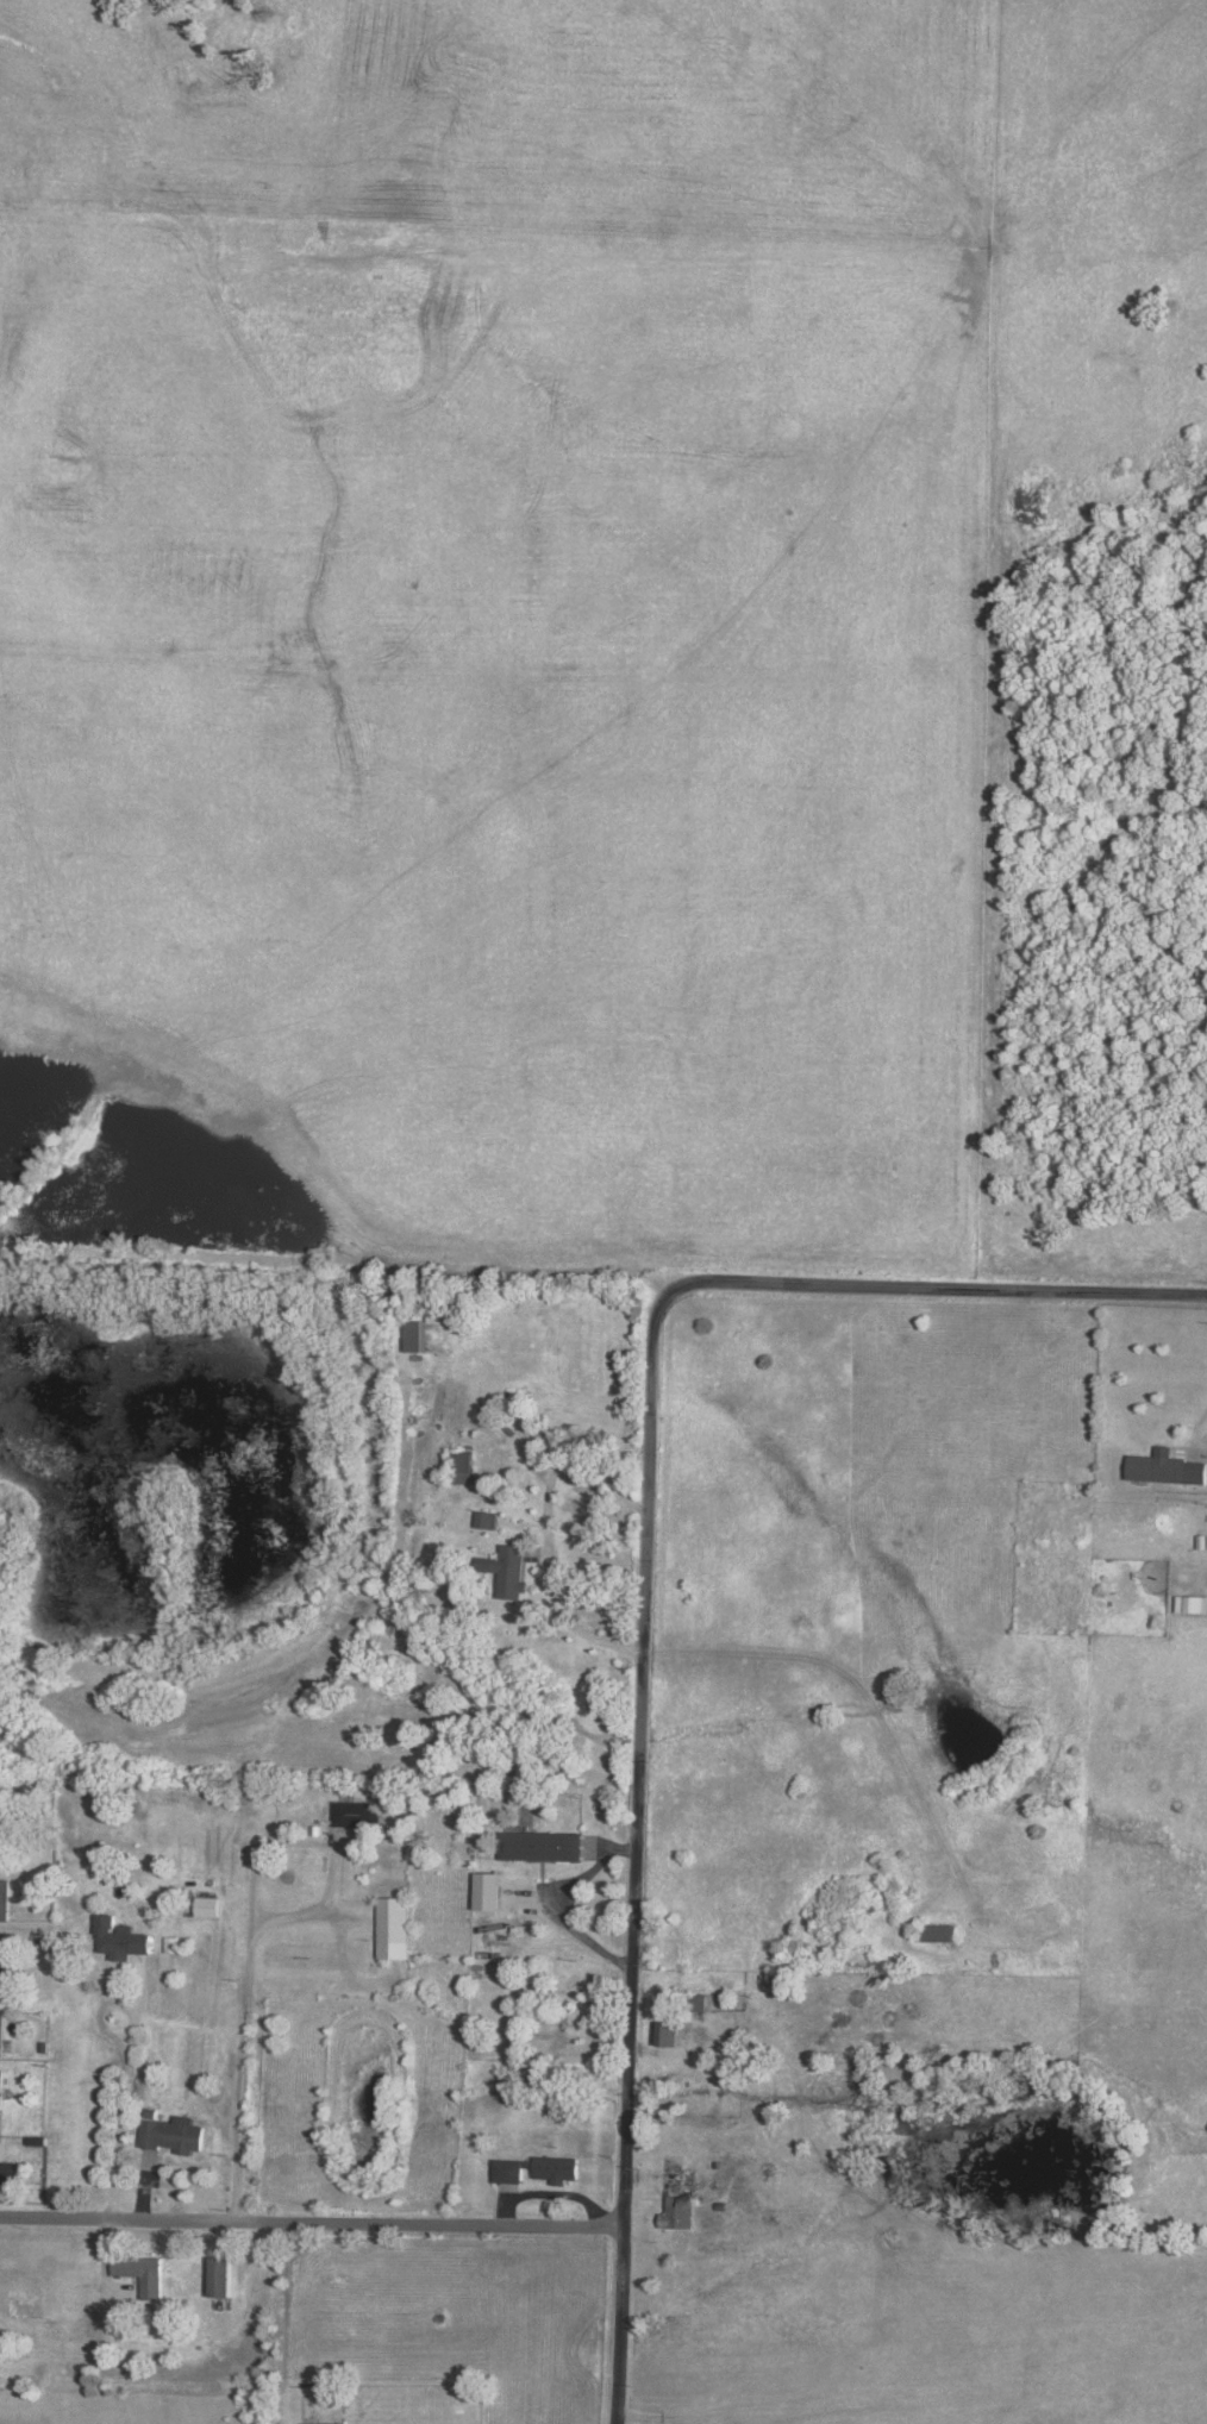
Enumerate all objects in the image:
road: (939, 1292)
building: (417, 1336)
building: (464, 1467)
building: (1167, 1468)
road: (1189, 1490)
building: (488, 1520)
road: (548, 1524)
building: (508, 1571)
building: (1192, 1604)
road: (637, 1759)
building: (358, 1814)
building: (543, 1847)
road: (330, 1853)
building: (5, 1900)
building: (208, 1906)
road: (557, 1910)
building: (395, 1929)
building: (938, 1933)
building: (123, 1940)
building: (4, 1966)
building: (698, 2003)
road: (248, 2005)
building: (2, 2034)
building: (668, 2035)
road: (127, 2087)
building: (2, 2091)
building: (174, 2134)
building: (538, 2171)
building: (8, 2173)
building: (681, 2212)
road: (312, 2225)
building: (142, 2275)
building: (223, 2279)
road: (620, 2330)
building: (327, 2423)

